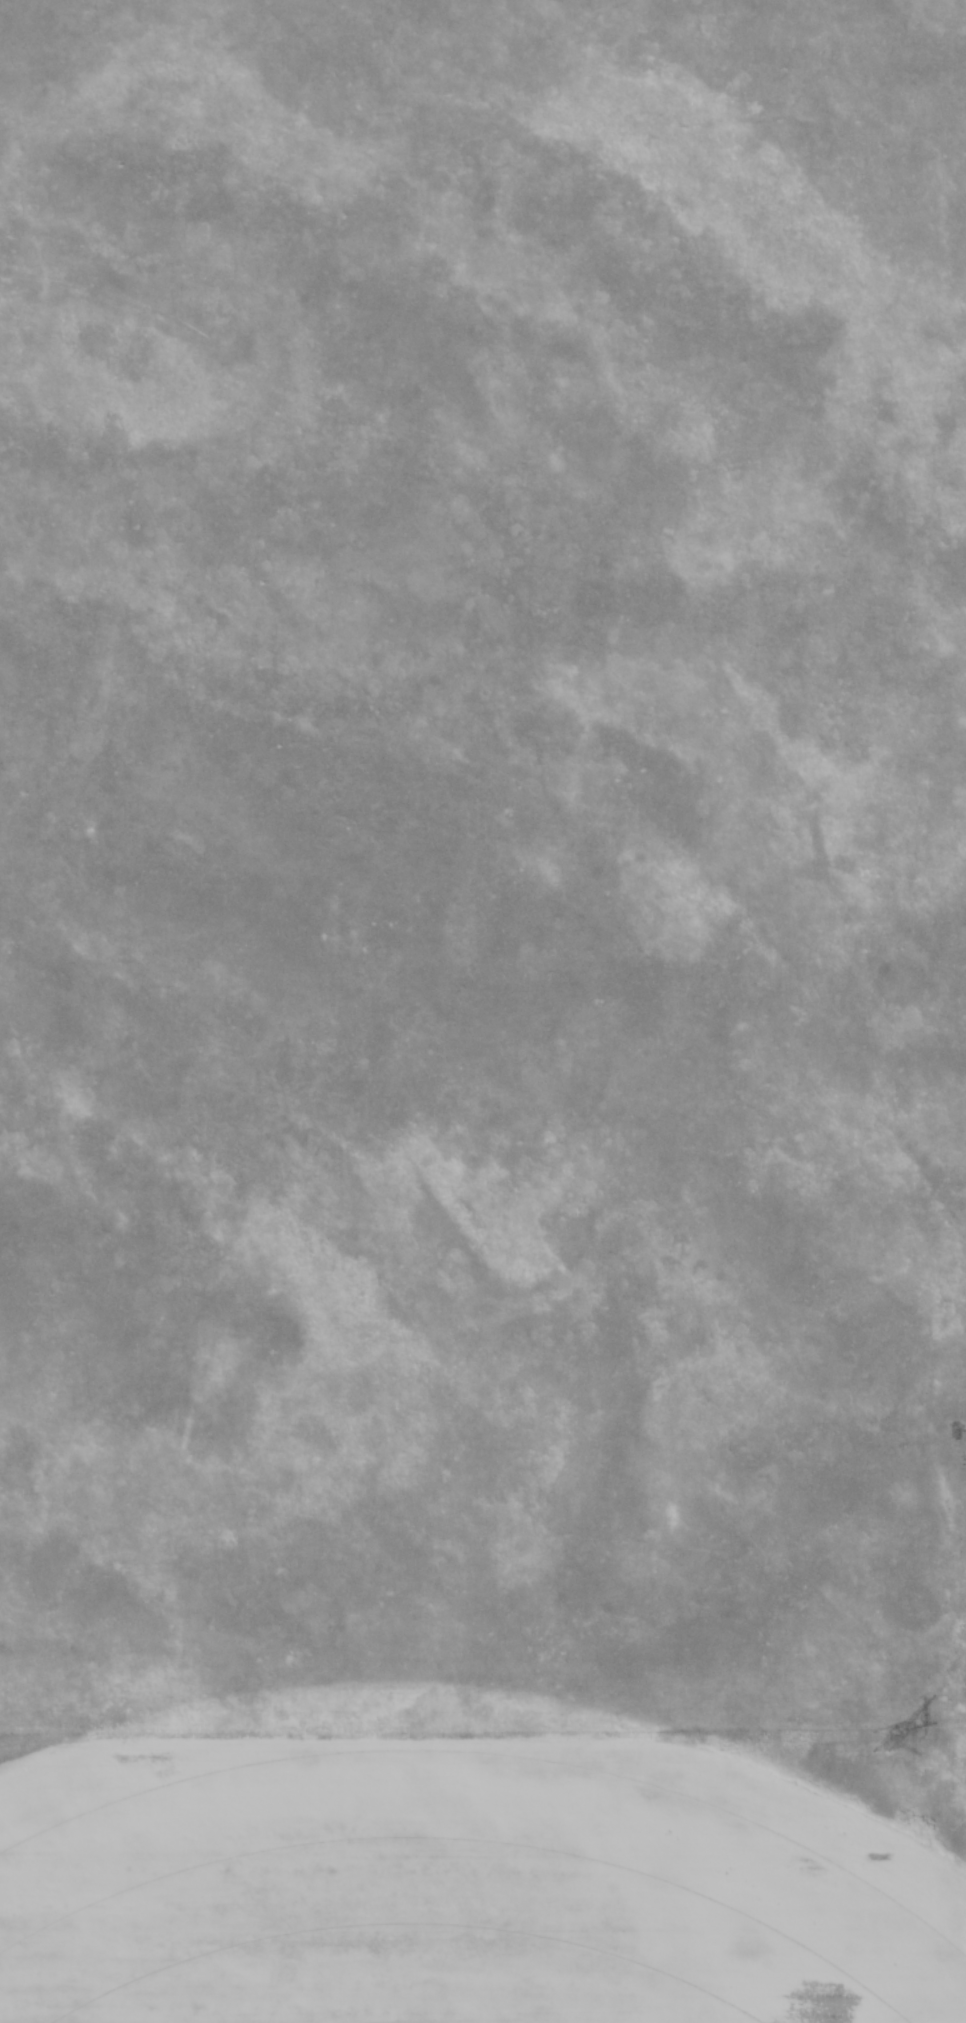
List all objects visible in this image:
power tower: (881, 1741)

